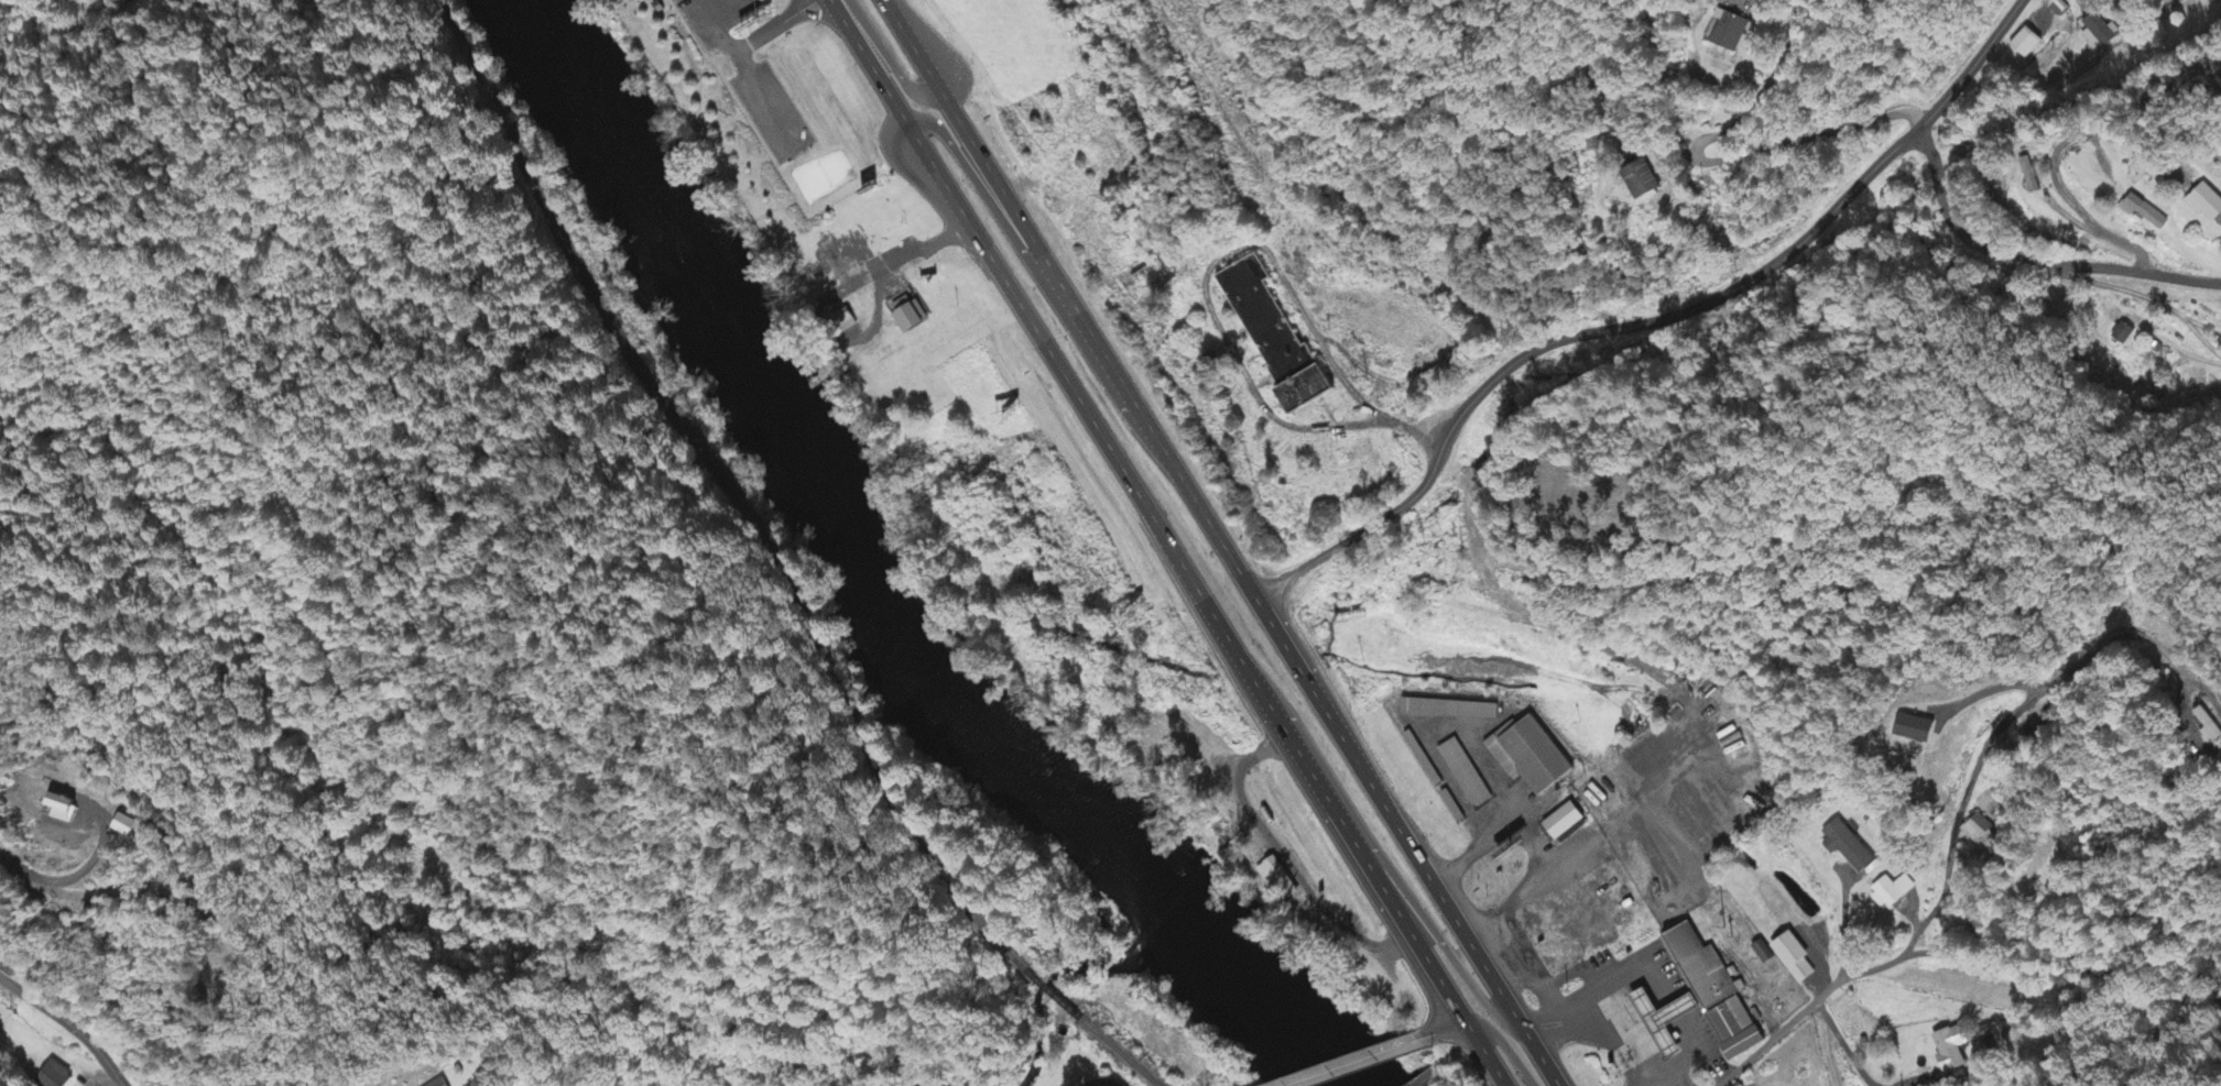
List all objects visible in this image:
building: (656, 4)
road: (773, 28)
building: (1728, 32)
building: (2099, 33)
building: (2024, 44)
road: (1839, 67)
road: (741, 75)
road: (930, 89)
park: (751, 112)
park: (751, 112)
road: (966, 168)
park: (816, 176)
building: (1642, 182)
road: (2072, 205)
building: (2208, 206)
building: (2145, 215)
road: (1956, 224)
road: (2137, 272)
road: (2144, 296)
river: (718, 306)
building: (908, 314)
road: (1648, 317)
building: (846, 322)
building: (2124, 334)
building: (1278, 339)
railway: (728, 485)
road: (1144, 509)
road: (1219, 542)
building: (1451, 710)
building: (2210, 724)
building: (1914, 728)
road: (1991, 734)
river: (1021, 755)
building: (1533, 756)
building: (1466, 774)
building: (64, 809)
building: (1566, 822)
building: (127, 827)
building: (1980, 834)
building: (1847, 846)
building: (1277, 878)
building: (1890, 893)
road: (1418, 910)
building: (1764, 953)
building: (1796, 959)
road: (2064, 980)
river: (1258, 985)
railway: (1053, 994)
building: (1719, 995)
road: (1806, 1008)
building: (1667, 1021)
road: (67, 1025)
road: (1442, 1028)
road: (1505, 1043)
building: (1950, 1050)
railway: (1120, 1052)
road: (1483, 1052)
road: (1351, 1061)
building: (54, 1076)
road: (1425, 1076)
building: (440, 1083)

